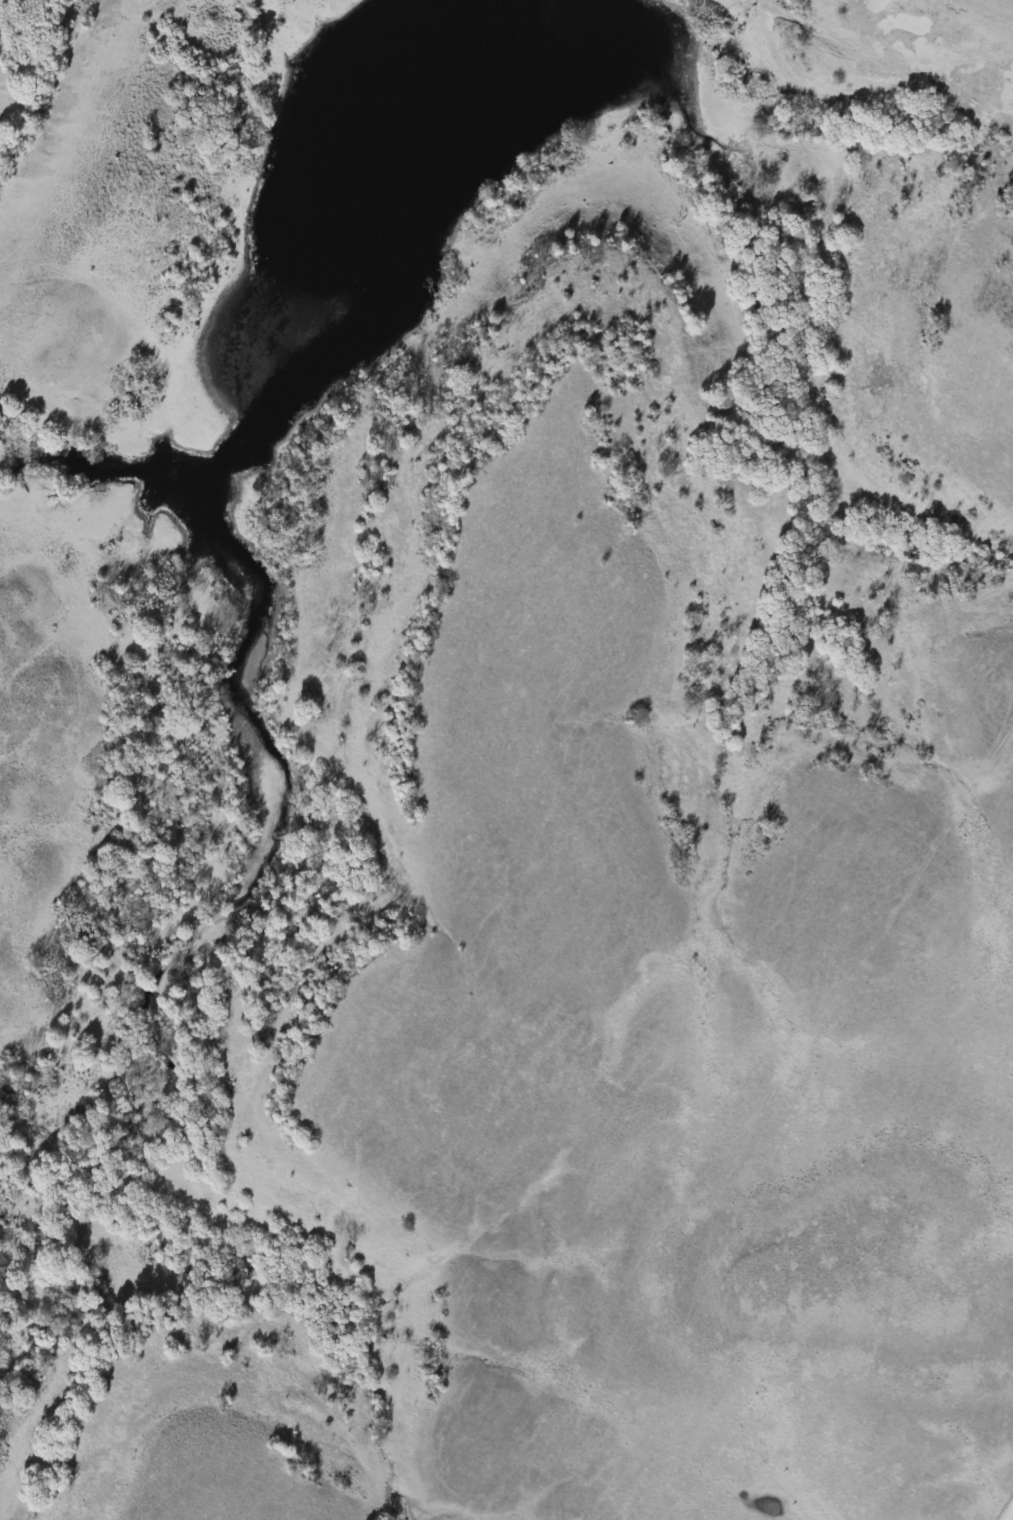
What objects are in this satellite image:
road: (1011, 1517)

